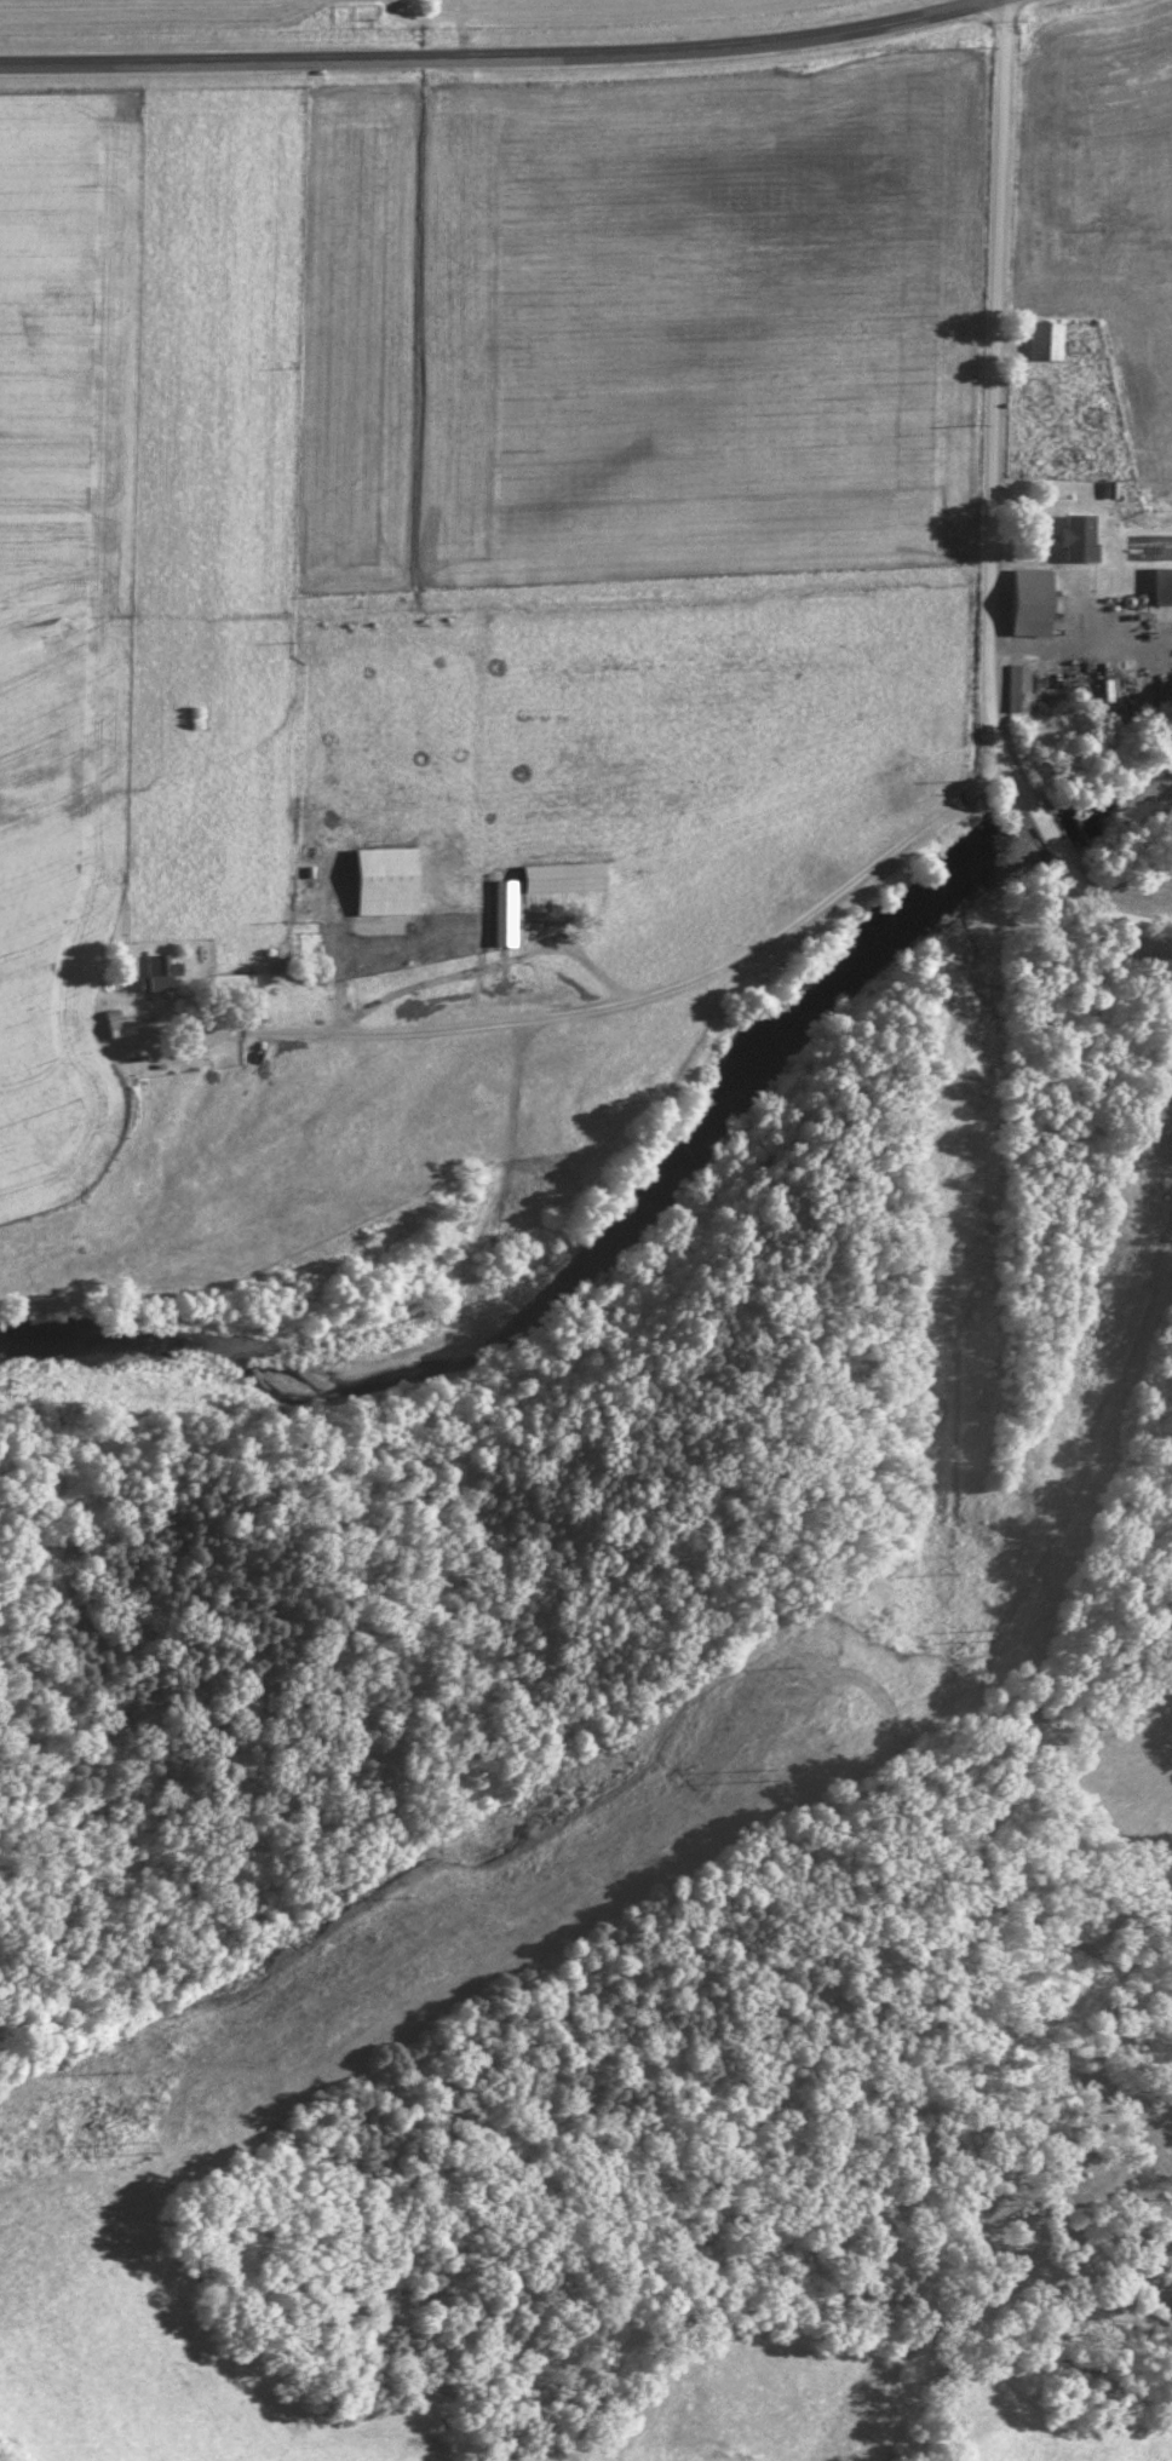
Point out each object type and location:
road: (487, 54)
building: (1042, 339)
road: (995, 504)
building: (1075, 536)
building: (1161, 585)
building: (1028, 602)
building: (1010, 689)
building: (559, 878)
building: (383, 881)
building: (501, 913)
building: (157, 973)
building: (231, 983)
road: (631, 1004)
building: (117, 1025)

